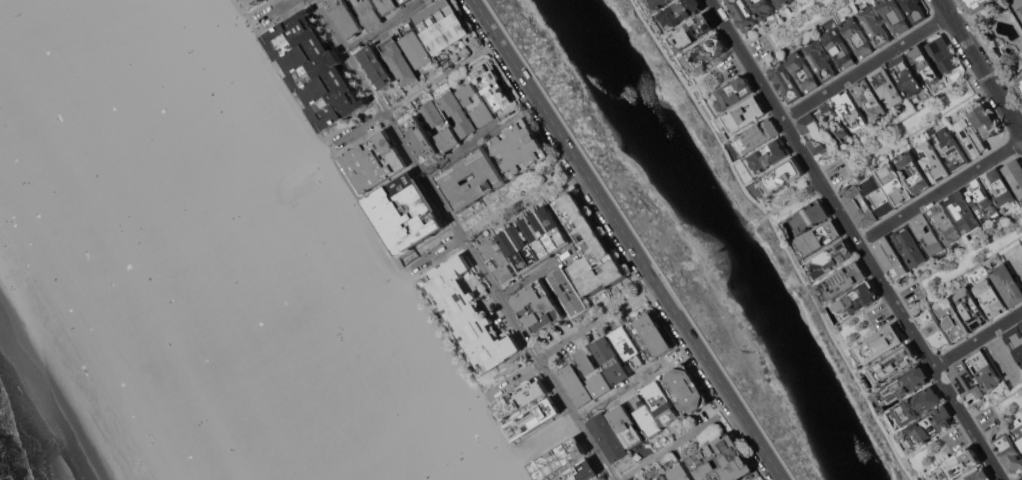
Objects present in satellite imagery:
building: (992, 0)
building: (404, 1)
building: (249, 3)
building: (659, 3)
building: (782, 3)
building: (387, 5)
building: (976, 5)
park: (1017, 7)
building: (762, 8)
building: (914, 10)
building: (681, 11)
road: (270, 12)
building: (367, 13)
building: (742, 14)
building: (894, 15)
building: (345, 17)
building: (442, 25)
building: (874, 25)
road: (381, 28)
road: (793, 29)
building: (694, 30)
building: (856, 36)
building: (415, 46)
building: (838, 48)
building: (708, 50)
building: (943, 54)
building: (819, 59)
building: (398, 61)
building: (925, 63)
building: (376, 66)
road: (865, 66)
road: (981, 66)
building: (314, 70)
building: (801, 70)
road: (716, 72)
road: (441, 75)
building: (905, 75)
building: (783, 81)
park: (216, 84)
building: (1020, 84)
building: (887, 85)
building: (493, 86)
building: (733, 92)
building: (870, 98)
building: (476, 103)
building: (851, 110)
building: (457, 112)
building: (431, 114)
building: (745, 114)
building: (833, 122)
road: (904, 129)
road: (356, 130)
building: (966, 131)
road: (318, 133)
building: (815, 134)
building: (756, 135)
building: (421, 138)
building: (447, 139)
building: (520, 147)
building: (950, 148)
road: (458, 151)
building: (768, 155)
building: (373, 161)
building: (933, 161)
building: (913, 171)
building: (782, 175)
building: (1015, 176)
building: (472, 179)
building: (895, 183)
building: (999, 186)
road: (940, 192)
building: (877, 194)
road: (518, 198)
road: (789, 199)
building: (982, 201)
building: (859, 205)
building: (963, 211)
building: (405, 212)
building: (809, 216)
building: (945, 223)
building: (927, 234)
road: (778, 235)
building: (819, 237)
building: (534, 238)
road: (628, 239)
road: (463, 240)
road: (855, 240)
park: (314, 245)
building: (589, 247)
building: (909, 247)
road: (436, 250)
building: (890, 257)
building: (831, 259)
building: (496, 260)
road: (406, 265)
road: (959, 268)
road: (533, 274)
building: (843, 279)
building: (1007, 284)
building: (566, 290)
building: (990, 298)
building: (855, 300)
building: (539, 306)
road: (618, 307)
building: (971, 307)
building: (468, 314)
building: (953, 318)
building: (1021, 321)
building: (1021, 322)
building: (934, 329)
building: (651, 333)
road: (977, 339)
building: (1015, 341)
building: (879, 343)
building: (626, 345)
road: (687, 349)
building: (585, 360)
building: (610, 360)
building: (892, 364)
road: (536, 366)
building: (983, 369)
road: (443, 376)
building: (966, 381)
building: (905, 383)
building: (575, 384)
building: (601, 386)
road: (627, 386)
building: (685, 389)
building: (520, 397)
road: (485, 398)
building: (661, 402)
building: (916, 405)
road: (720, 406)
park: (1000, 411)
building: (645, 416)
building: (533, 418)
building: (929, 425)
building: (626, 426)
building: (1018, 433)
building: (608, 437)
road: (539, 440)
park: (470, 445)
road: (665, 448)
building: (1009, 452)
building: (558, 458)
building: (721, 460)
park: (436, 464)
building: (956, 466)
building: (579, 471)
building: (681, 472)
building: (979, 475)
building: (661, 477)

